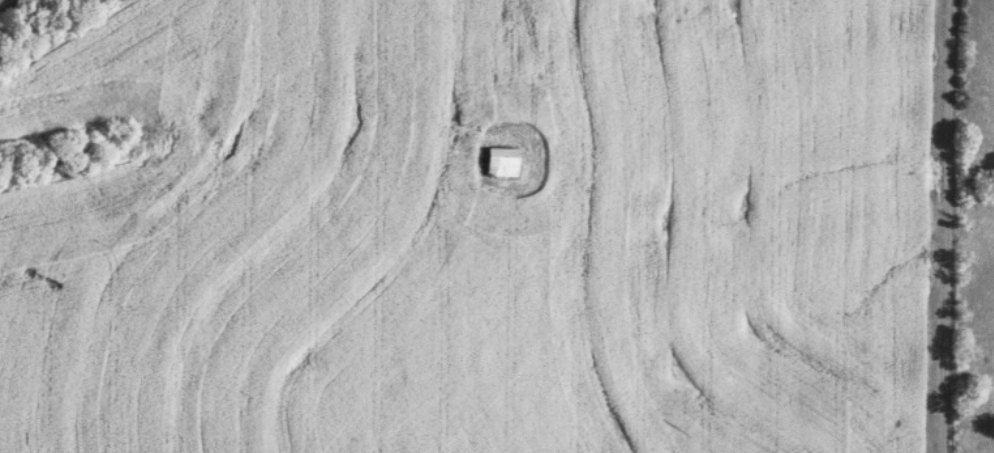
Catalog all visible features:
building: (500, 161)
road: (947, 226)

